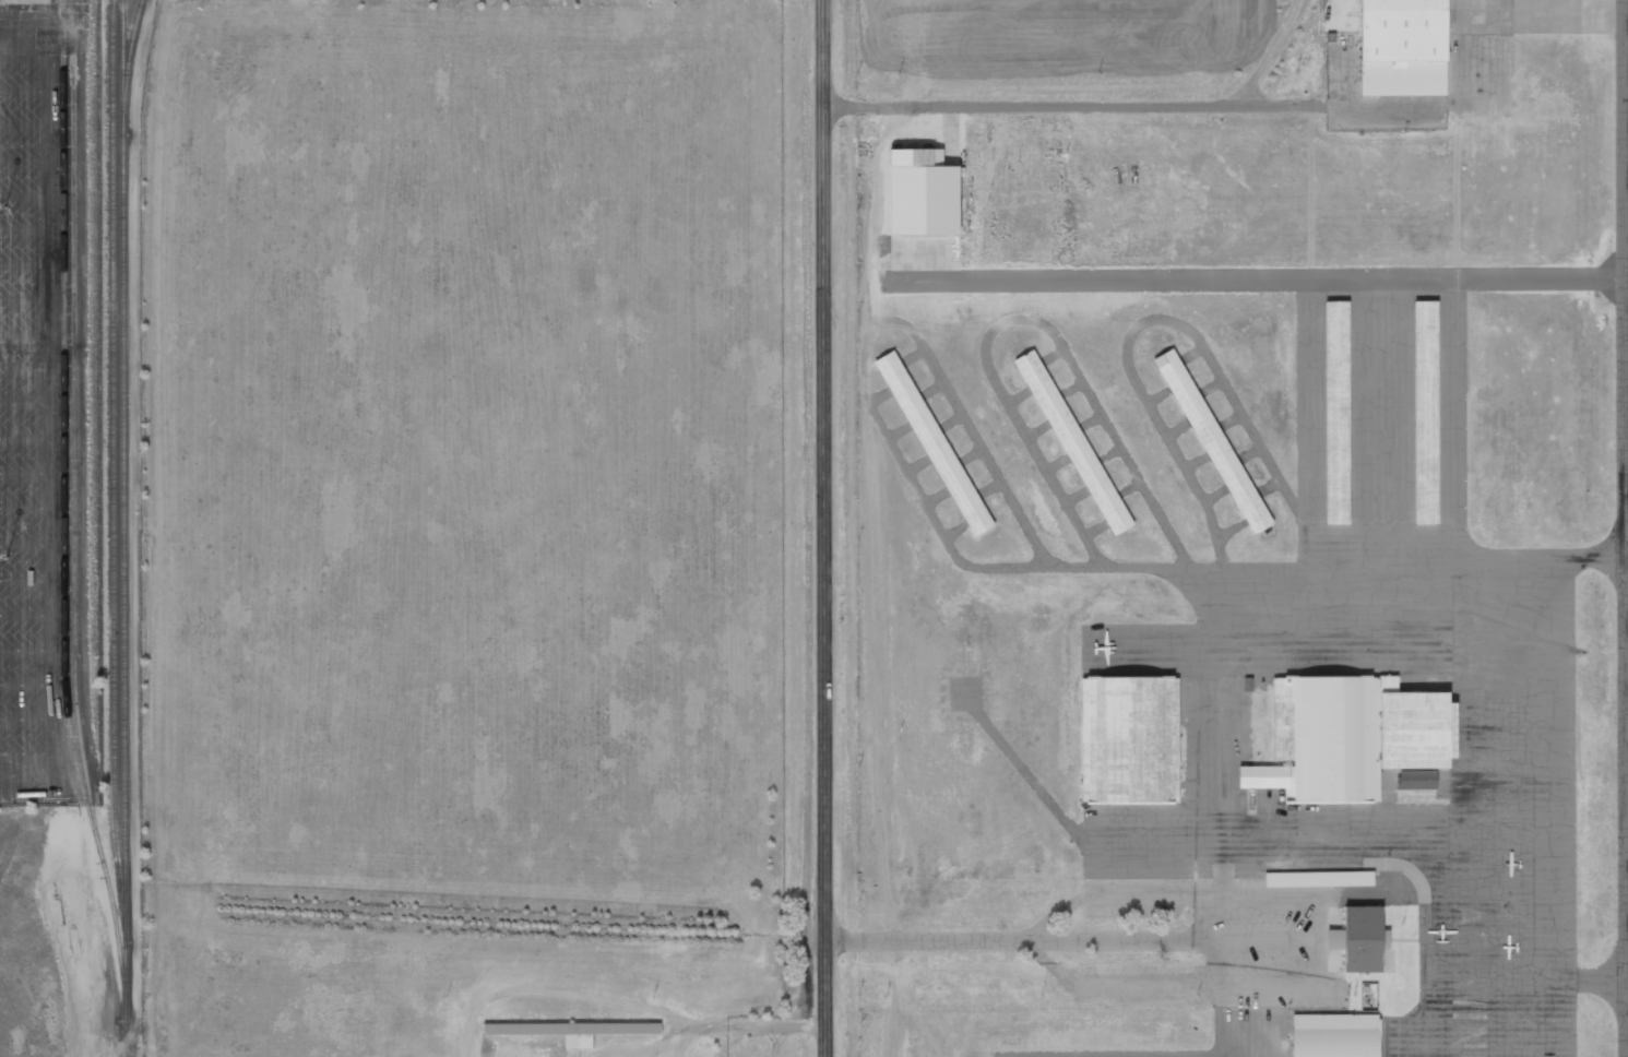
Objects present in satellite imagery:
building: (1402, 47)
railway: (128, 61)
road: (1074, 106)
building: (922, 194)
building: (1427, 413)
building: (1338, 414)
building: (1214, 442)
building: (1076, 443)
building: (936, 444)
railway: (73, 452)
railway: (114, 465)
airport: (1241, 527)
airport taxiway: (1623, 527)
railway: (124, 528)
road: (823, 528)
railway: (63, 546)
airport taxiway: (1601, 560)
helipad: (965, 693)
airport apron: (1368, 701)
building: (1418, 732)
building: (1131, 740)
building: (1324, 740)
building: (1416, 780)
building: (1318, 879)
flagpole: (1402, 923)
building: (1385, 938)
road: (1072, 939)
building: (1360, 939)
airport taxiway: (1597, 983)
building: (571, 1028)
building: (1339, 1036)
airport apron: (1130, 1054)

